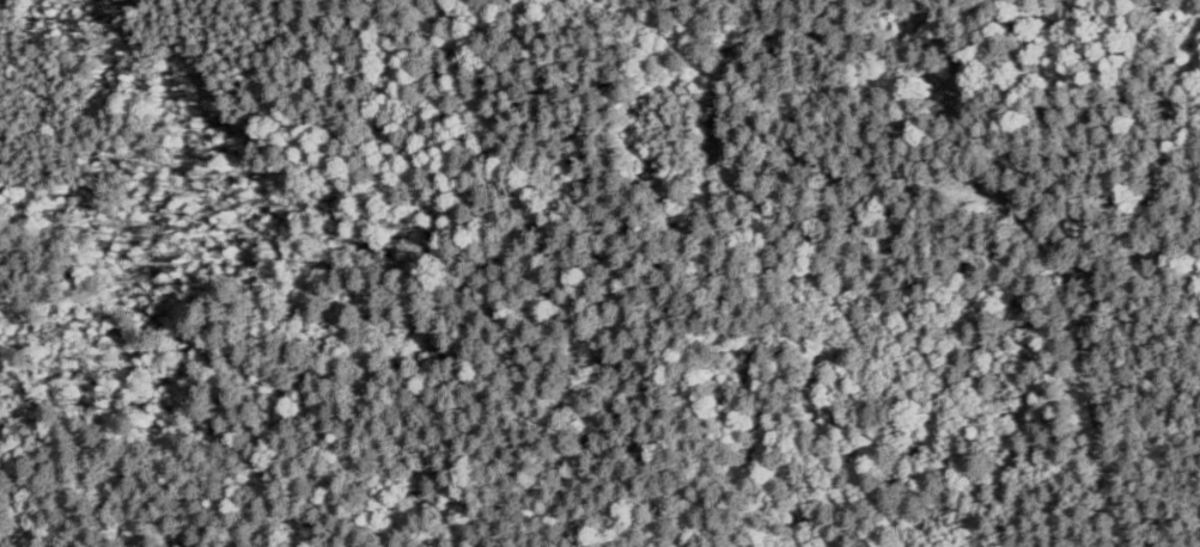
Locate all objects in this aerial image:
road: (832, 233)

